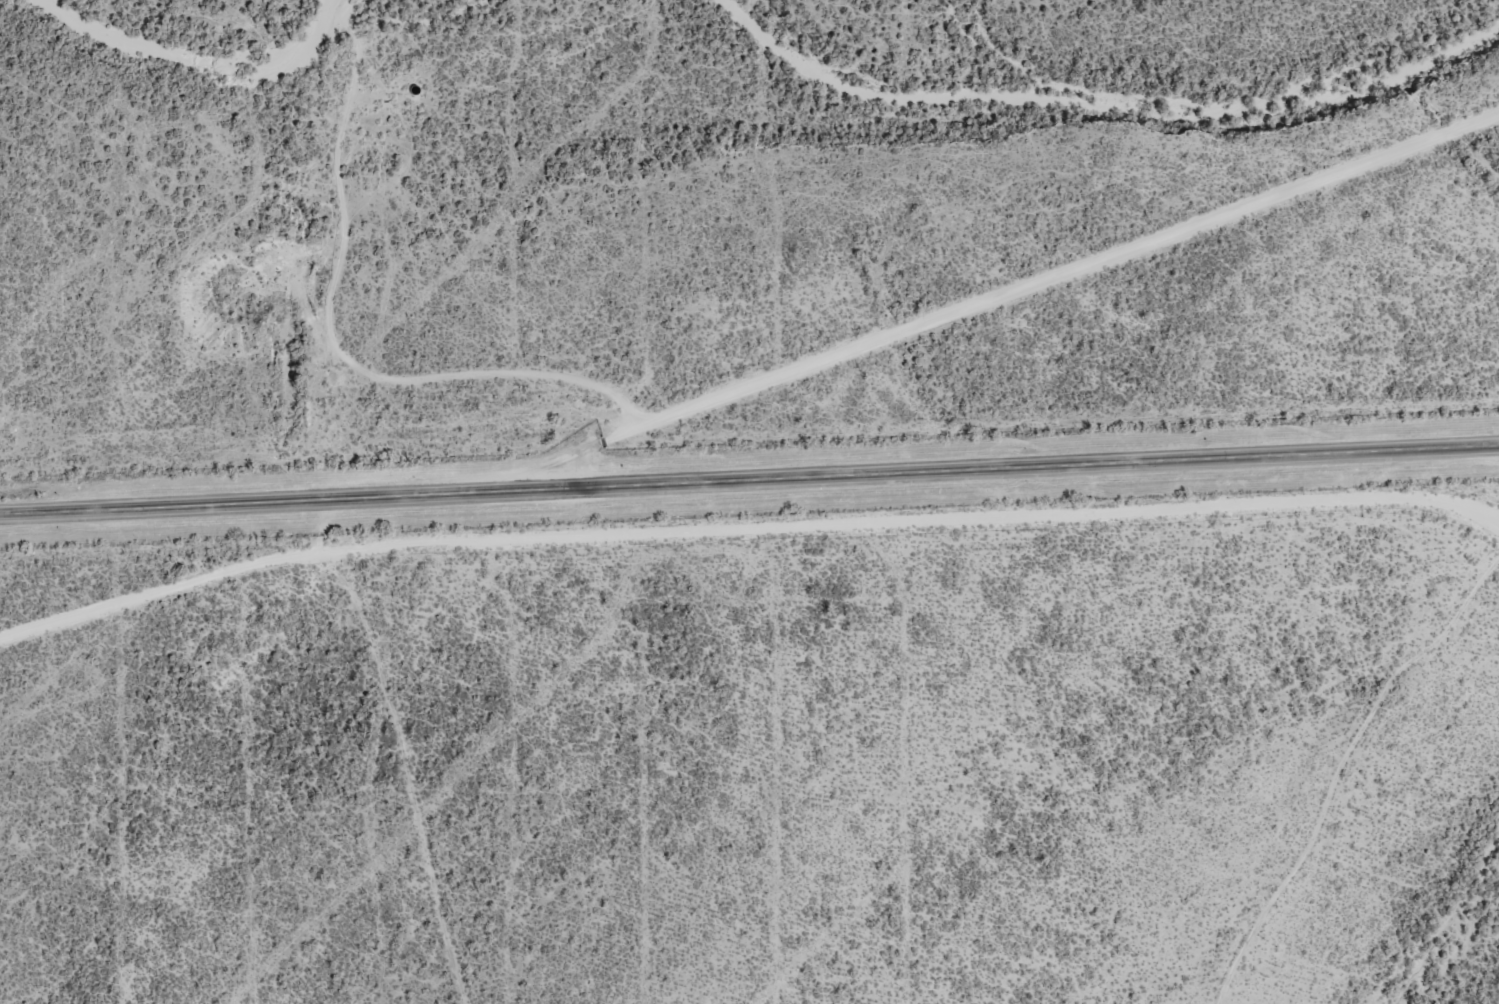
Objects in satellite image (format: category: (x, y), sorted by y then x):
road: (756, 427)
road: (749, 473)

